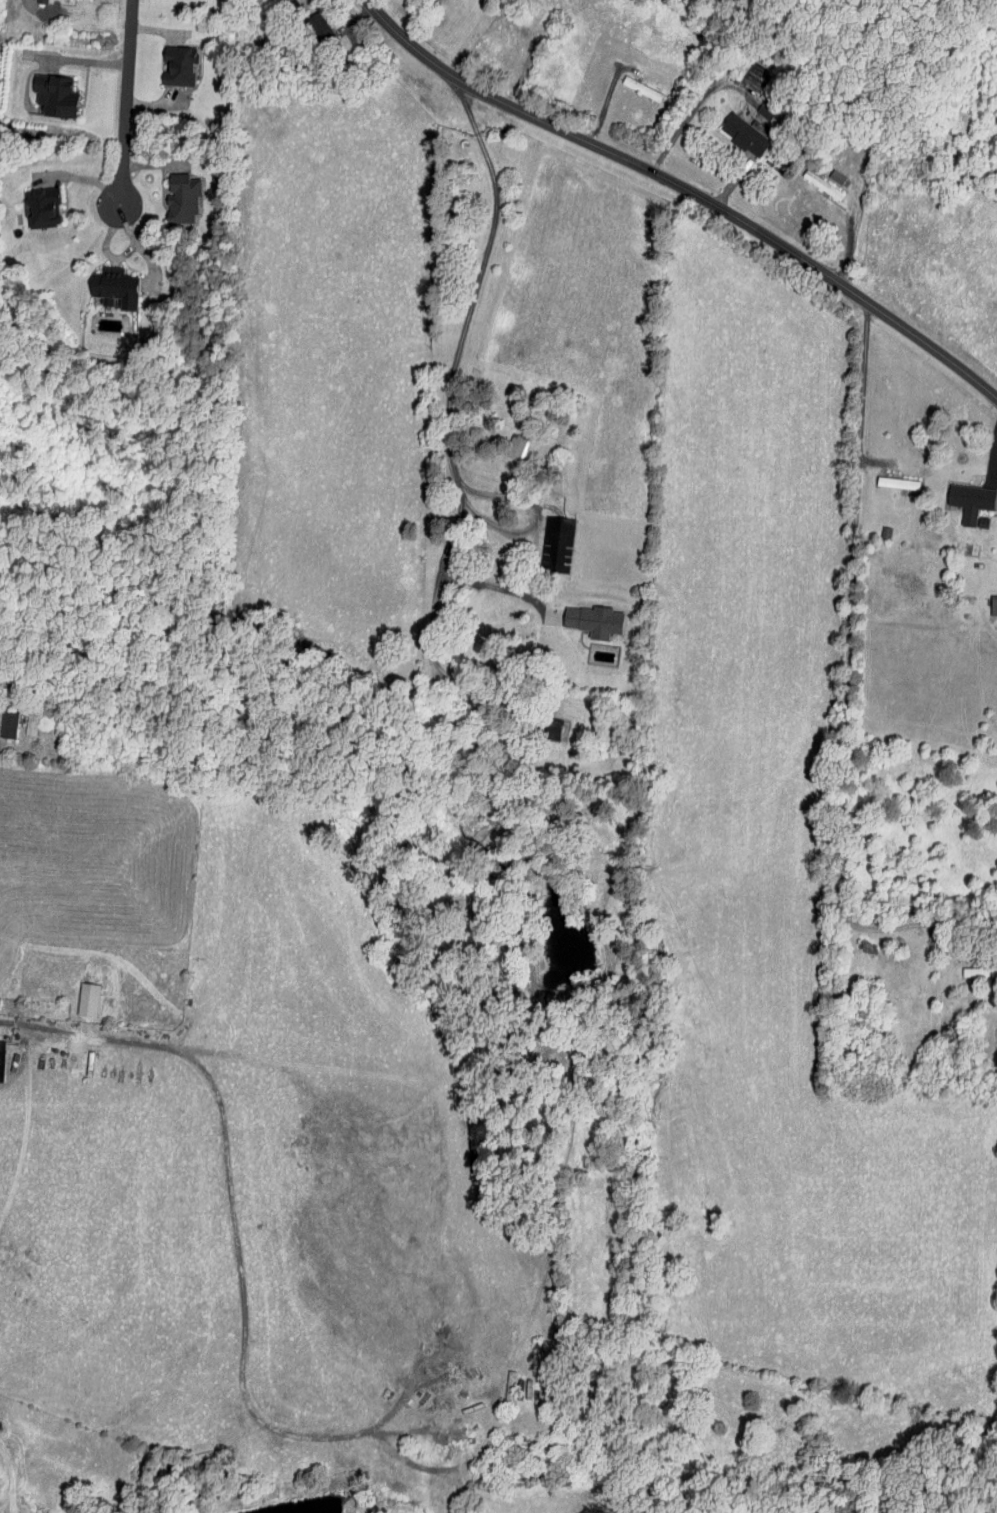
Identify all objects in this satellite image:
building: (41, 1)
building: (177, 66)
building: (638, 88)
building: (52, 96)
road: (125, 103)
road: (692, 109)
building: (764, 111)
building: (743, 135)
road: (869, 177)
building: (820, 184)
road: (686, 189)
building: (179, 200)
building: (41, 207)
building: (112, 288)
road: (446, 377)
building: (516, 447)
road: (994, 473)
building: (896, 484)
building: (969, 502)
road: (527, 503)
building: (884, 533)
building: (557, 544)
building: (966, 549)
road: (503, 589)
building: (993, 605)
building: (592, 620)
road: (851, 681)
building: (8, 723)
road: (6, 747)
building: (978, 971)
building: (85, 998)
building: (1, 1059)

